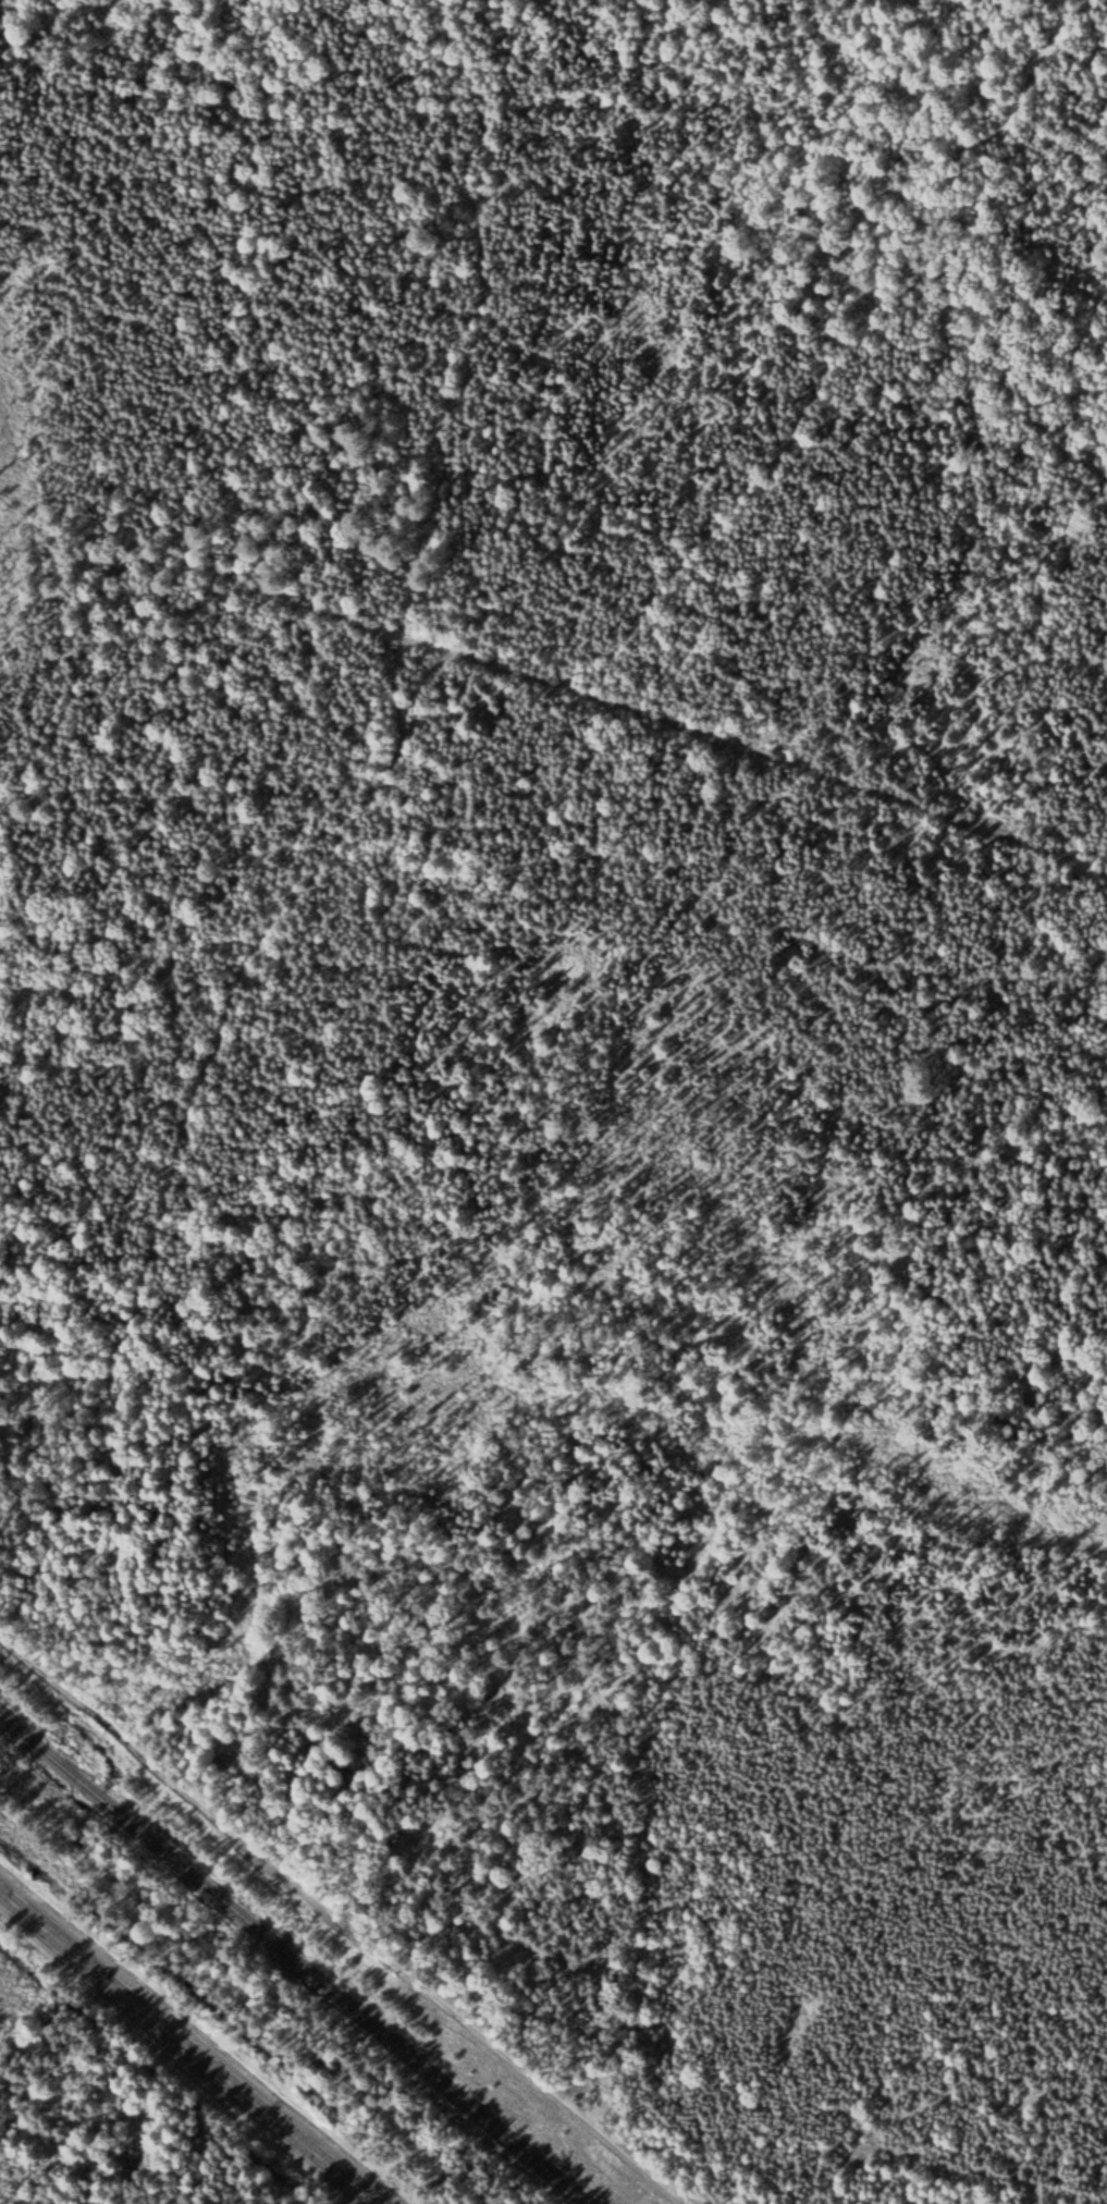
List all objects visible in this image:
road: (650, 721)
road: (331, 775)
road: (352, 1921)
railway: (297, 1956)
road: (197, 2044)

